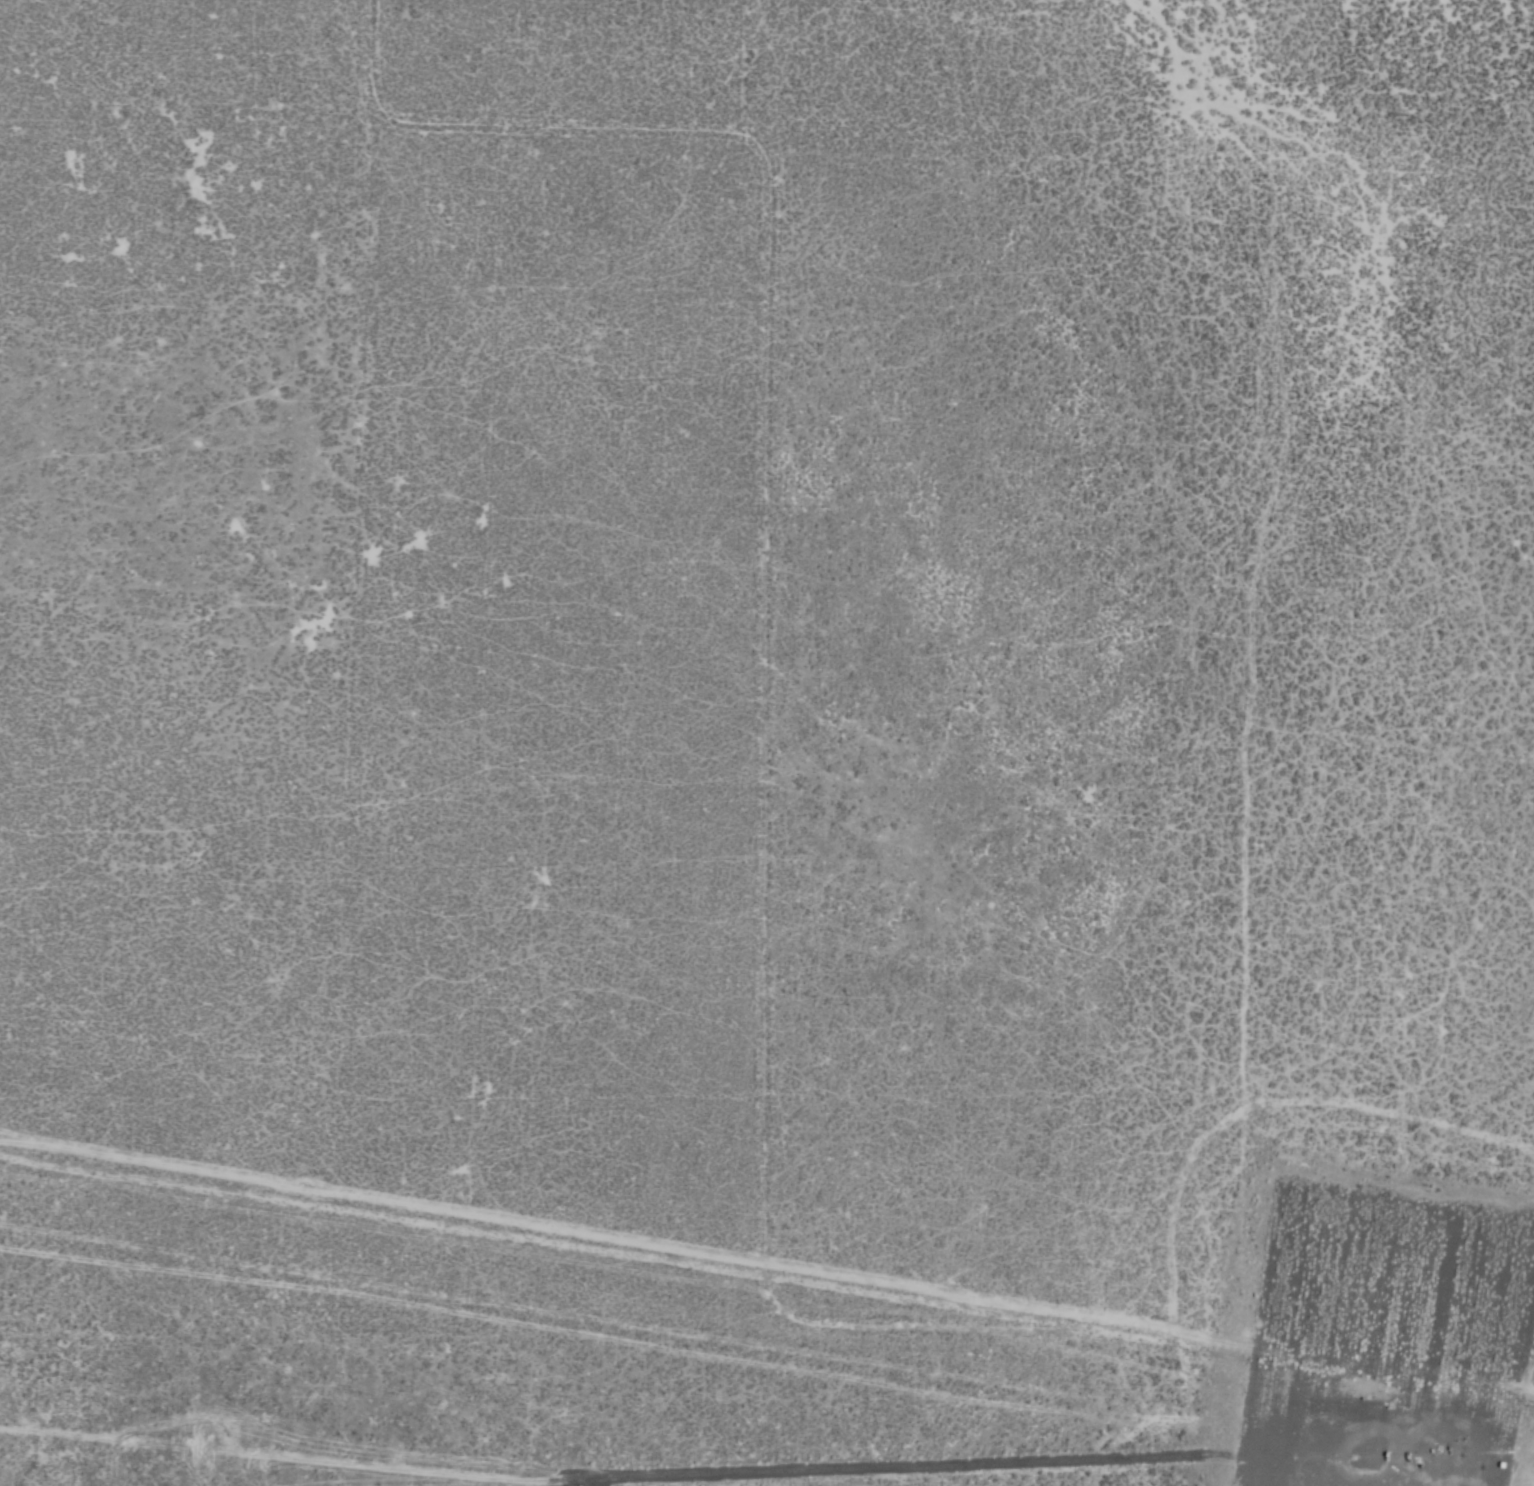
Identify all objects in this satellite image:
airport: (767, 743)
road: (767, 1265)
road: (1300, 1443)

